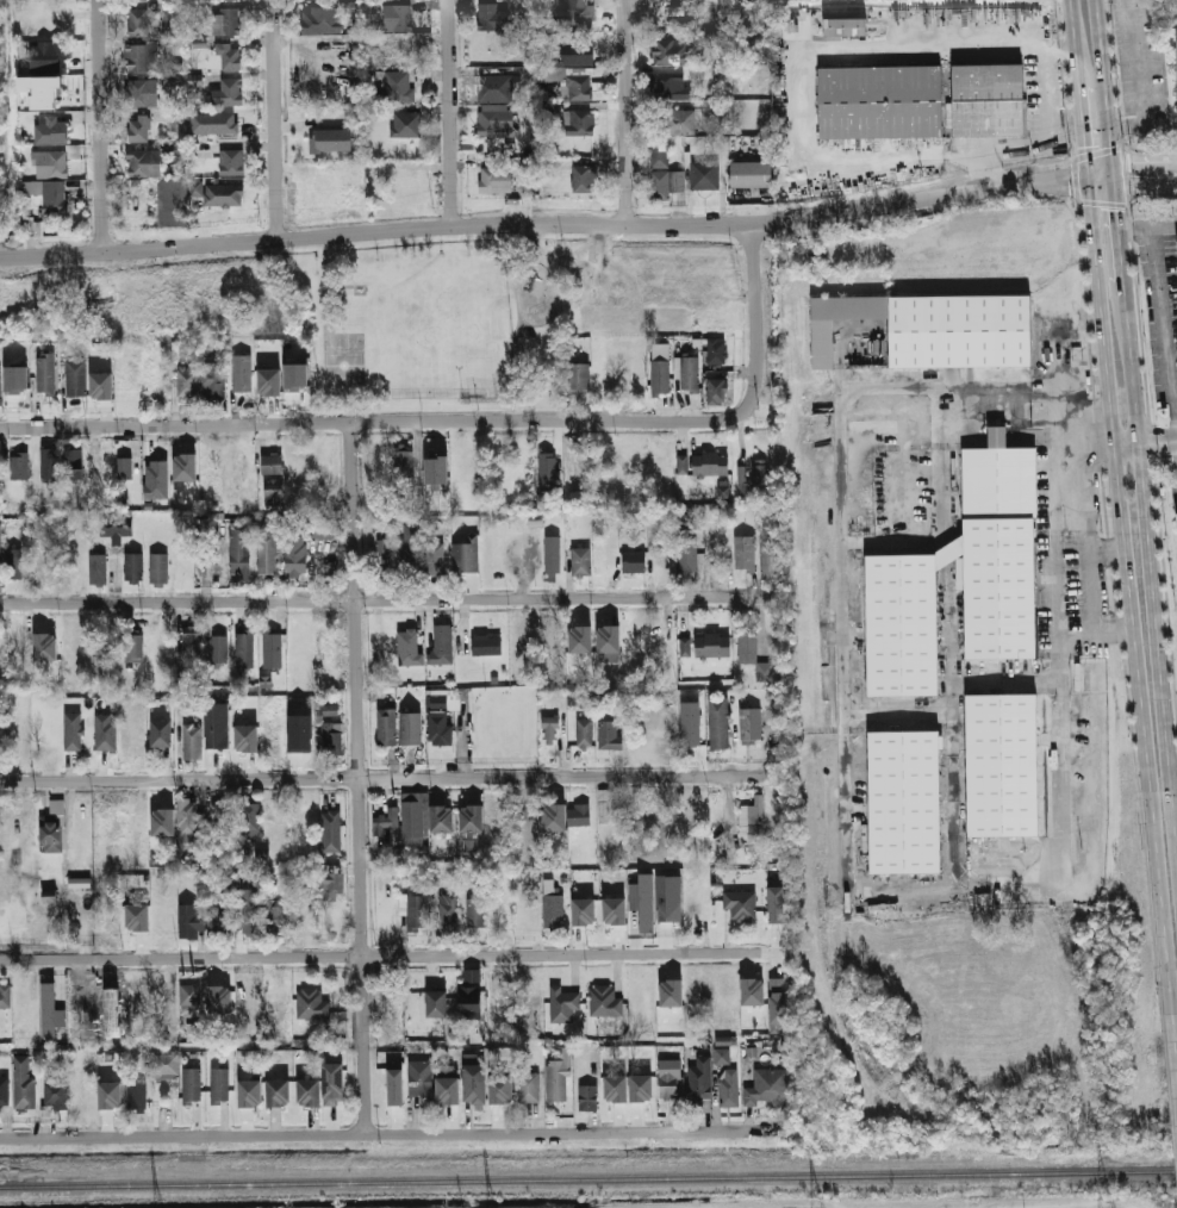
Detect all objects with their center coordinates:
building: (350, 6)
building: (577, 13)
building: (399, 17)
building: (491, 17)
building: (313, 20)
building: (139, 21)
building: (226, 21)
building: (847, 26)
building: (714, 37)
road: (1073, 43)
building: (1176, 46)
building: (674, 50)
building: (581, 52)
building: (230, 56)
building: (55, 58)
building: (142, 58)
building: (598, 75)
building: (571, 82)
building: (397, 85)
road: (1104, 86)
building: (494, 88)
building: (672, 88)
building: (39, 91)
building: (138, 93)
building: (228, 93)
building: (989, 99)
building: (882, 102)
road: (448, 112)
road: (624, 112)
road: (273, 119)
building: (497, 122)
building: (580, 123)
building: (679, 123)
building: (406, 125)
road: (99, 126)
building: (228, 126)
building: (51, 129)
building: (139, 129)
road: (1044, 129)
building: (340, 132)
road: (1083, 132)
traffic signals: (1084, 144)
road: (1142, 160)
traffic signals: (1138, 161)
building: (231, 162)
building: (49, 163)
building: (145, 163)
building: (664, 174)
building: (753, 174)
building: (705, 175)
building: (496, 176)
building: (584, 179)
road: (1151, 180)
traffic signals: (1066, 182)
road: (1142, 186)
building: (197, 187)
building: (50, 194)
building: (232, 198)
building: (169, 203)
traffic signals: (1116, 211)
road: (558, 224)
road: (1146, 224)
building: (32, 225)
road: (1117, 226)
road: (325, 284)
road: (344, 286)
park: (400, 311)
road: (1163, 328)
building: (961, 330)
road: (328, 331)
park: (446, 334)
building: (822, 345)
building: (718, 349)
park: (343, 365)
building: (295, 373)
building: (691, 373)
building: (46, 374)
building: (242, 374)
building: (76, 375)
building: (15, 378)
building: (661, 378)
building: (268, 379)
building: (580, 379)
building: (214, 380)
building: (100, 382)
building: (187, 382)
building: (717, 387)
building: (0, 391)
road: (991, 398)
road: (468, 423)
road: (1066, 430)
road: (1144, 443)
building: (48, 462)
building: (74, 462)
building: (711, 463)
building: (124, 465)
building: (183, 465)
building: (273, 465)
building: (405, 465)
building: (18, 466)
building: (681, 466)
building: (435, 469)
building: (547, 473)
building: (155, 477)
building: (760, 478)
building: (999, 478)
building: (742, 480)
road: (839, 486)
building: (723, 487)
building: (275, 492)
road: (949, 493)
building: (1176, 516)
building: (685, 522)
building: (1176, 522)
building: (118, 527)
building: (319, 529)
road: (1079, 534)
road: (1150, 534)
building: (412, 547)
building: (239, 550)
road: (949, 552)
building: (297, 553)
building: (746, 553)
building: (385, 554)
building: (268, 555)
building: (553, 555)
building: (463, 558)
building: (689, 558)
building: (770, 559)
building: (436, 560)
building: (583, 562)
building: (635, 562)
building: (14, 563)
building: (135, 566)
building: (98, 568)
building: (160, 568)
building: (46, 572)
road: (1128, 580)
building: (1003, 587)
road: (391, 603)
road: (949, 609)
building: (903, 623)
building: (579, 639)
building: (608, 639)
building: (191, 645)
building: (443, 645)
building: (487, 645)
building: (714, 646)
building: (45, 647)
building: (410, 647)
building: (684, 647)
building: (135, 648)
building: (219, 648)
building: (748, 648)
building: (273, 649)
building: (245, 650)
building: (764, 672)
road: (953, 690)
road: (947, 695)
building: (329, 710)
building: (720, 724)
building: (751, 724)
building: (216, 726)
building: (387, 727)
building: (410, 728)
building: (440, 728)
building: (552, 730)
building: (74, 731)
building: (106, 731)
building: (299, 733)
building: (585, 733)
building: (163, 734)
building: (610, 735)
building: (691, 735)
building: (245, 739)
building: (334, 739)
building: (193, 741)
road: (1055, 760)
building: (1004, 764)
road: (361, 779)
road: (393, 779)
building: (905, 802)
building: (862, 803)
building: (603, 805)
building: (755, 810)
road: (957, 812)
building: (415, 815)
building: (579, 815)
building: (554, 817)
building: (222, 818)
building: (441, 818)
building: (471, 818)
building: (186, 820)
building: (251, 820)
building: (385, 821)
building: (82, 822)
building: (160, 822)
building: (52, 824)
building: (331, 830)
road: (840, 872)
building: (79, 883)
building: (334, 885)
building: (668, 897)
building: (642, 902)
building: (776, 903)
building: (740, 904)
building: (553, 907)
building: (614, 910)
building: (417, 911)
building: (448, 911)
building: (583, 911)
building: (475, 913)
building: (250, 915)
building: (136, 916)
building: (189, 919)
building: (276, 919)
building: (217, 924)
road: (394, 959)
building: (472, 975)
road: (1176, 988)
building: (752, 990)
building: (671, 992)
building: (191, 995)
building: (5, 997)
building: (219, 998)
building: (605, 1001)
building: (472, 1003)
building: (562, 1003)
building: (777, 1003)
building: (312, 1004)
building: (438, 1004)
building: (50, 1010)
building: (195, 1033)
building: (723, 1056)
building: (166, 1064)
building: (667, 1075)
building: (421, 1078)
building: (331, 1082)
building: (699, 1082)
building: (477, 1083)
building: (192, 1084)
building: (219, 1084)
building: (556, 1084)
building: (394, 1086)
building: (529, 1086)
building: (640, 1086)
building: (615, 1088)
building: (729, 1088)
building: (767, 1088)
building: (447, 1090)
building: (500, 1090)
building: (5, 1091)
building: (307, 1091)
building: (25, 1092)
building: (249, 1092)
building: (278, 1092)
building: (56, 1094)
building: (85, 1094)
building: (110, 1095)
building: (137, 1095)
building: (588, 1097)
road: (396, 1134)
railway: (588, 1179)

